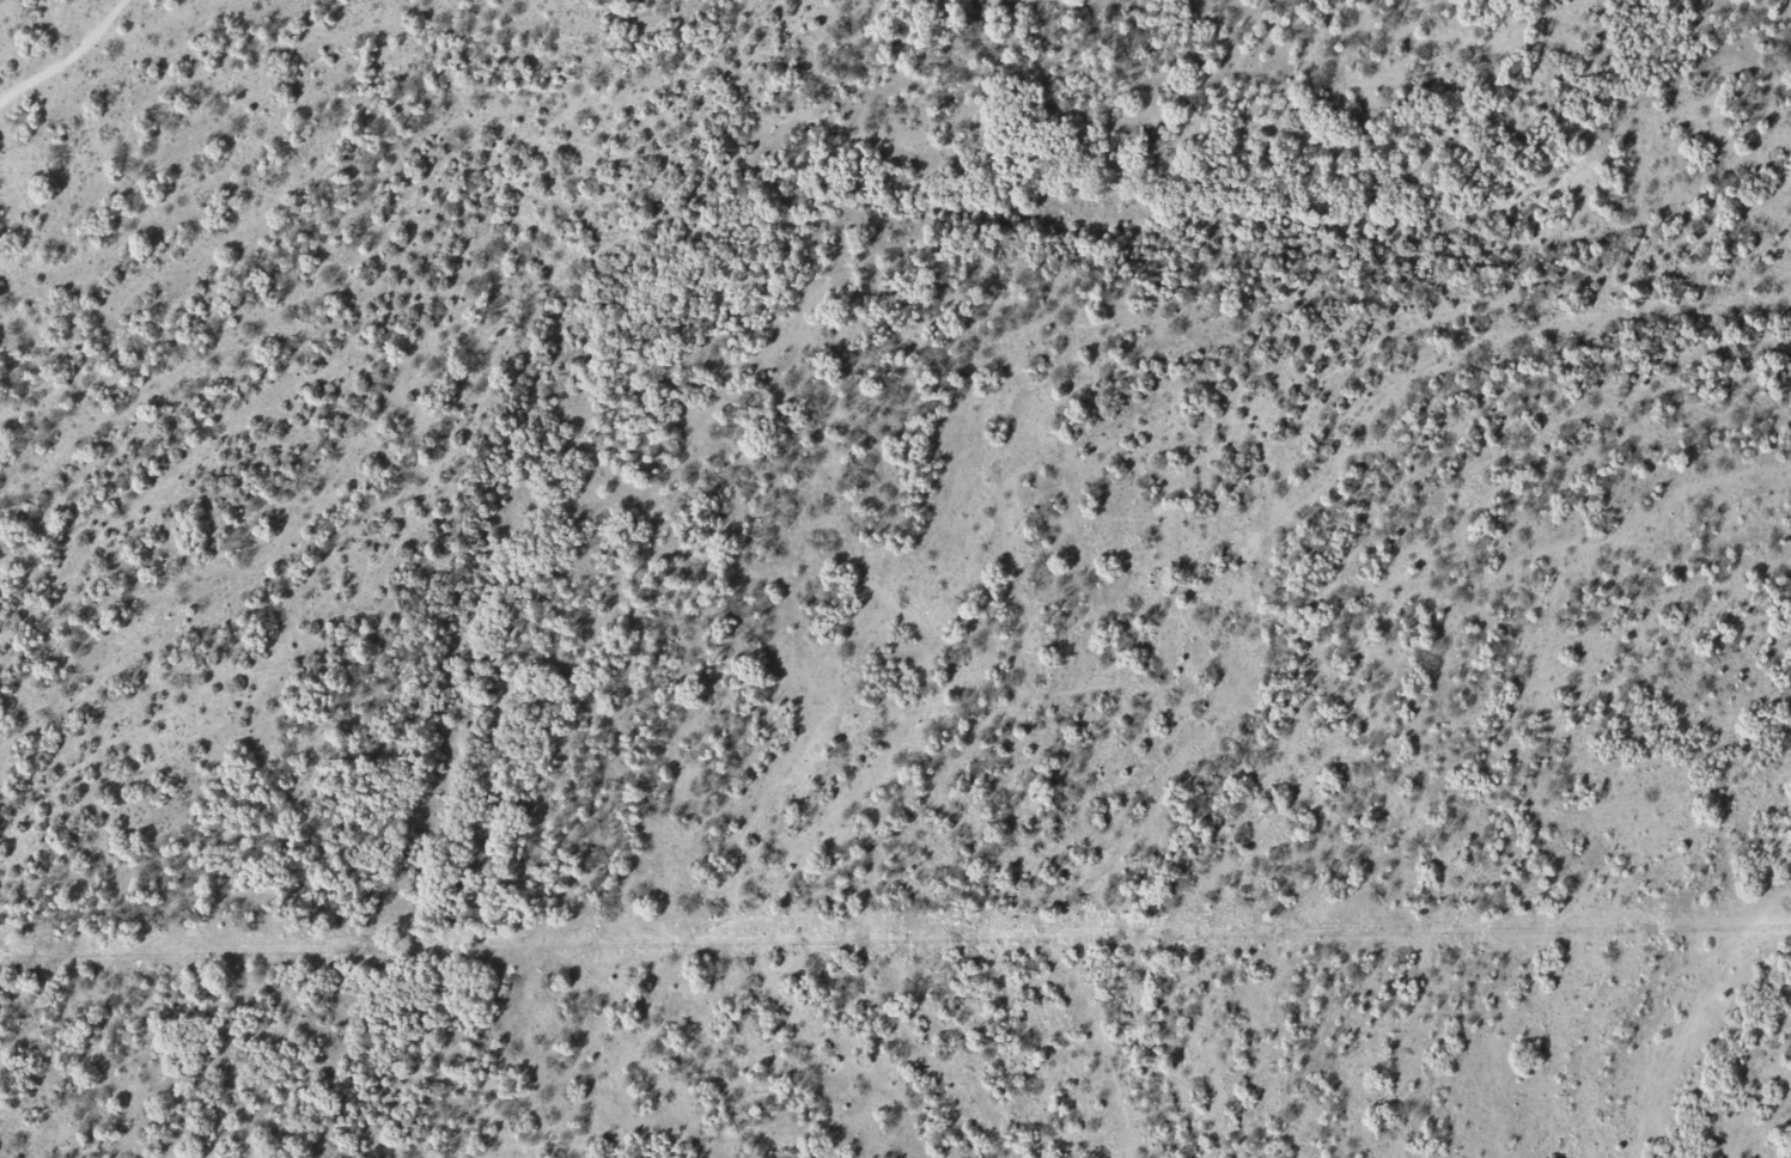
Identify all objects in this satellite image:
road: (57, 41)

